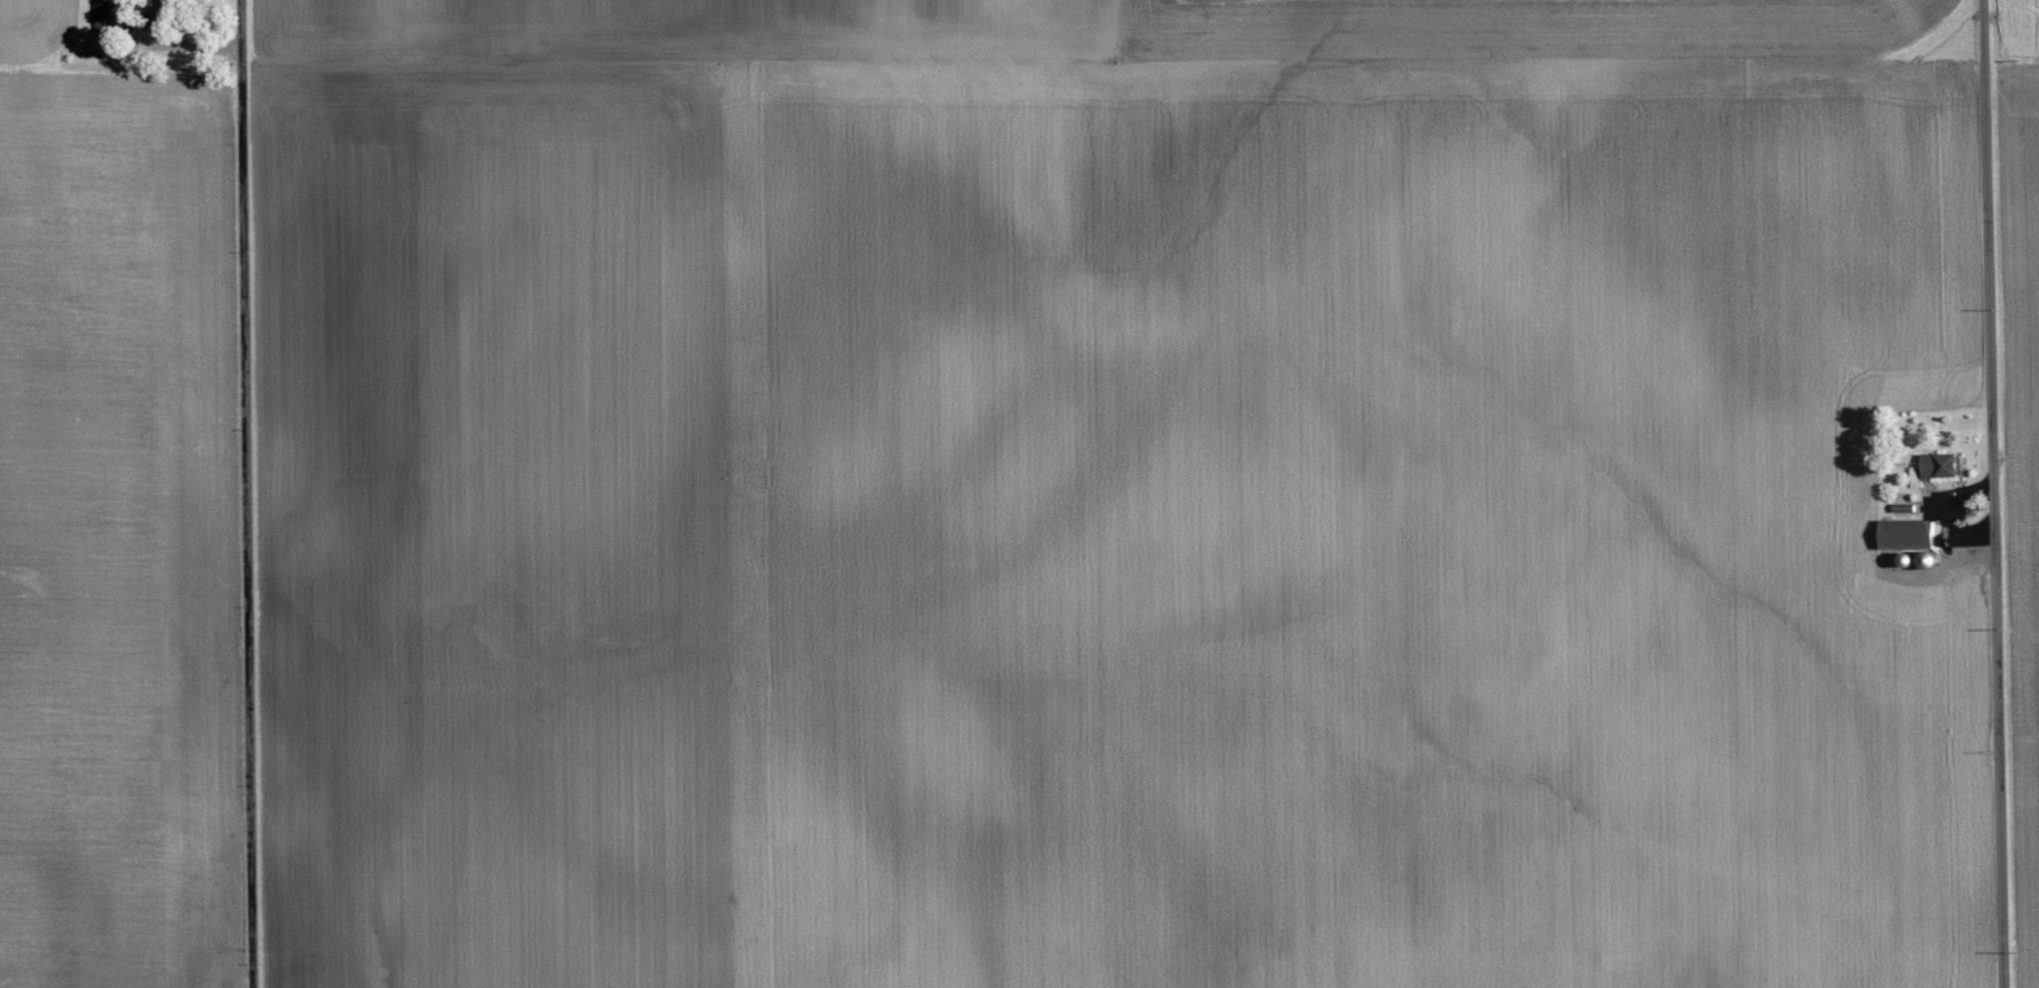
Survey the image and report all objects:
road: (178, 47)
road: (243, 494)
road: (1984, 494)

